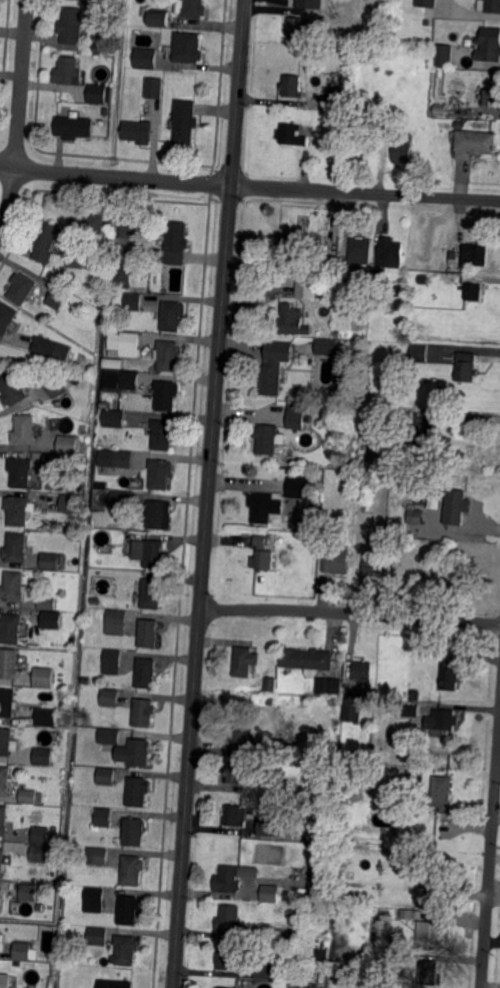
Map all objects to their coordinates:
building: (106, 2)
building: (307, 3)
building: (425, 3)
building: (489, 6)
building: (194, 9)
road: (469, 11)
building: (340, 16)
building: (159, 18)
building: (426, 23)
building: (73, 25)
building: (299, 27)
building: (488, 45)
building: (189, 48)
building: (98, 49)
building: (443, 56)
building: (146, 58)
building: (68, 72)
building: (293, 86)
building: (155, 87)
building: (98, 95)
building: (489, 96)
building: (336, 98)
building: (128, 99)
building: (441, 110)
building: (419, 117)
road: (19, 118)
building: (186, 121)
building: (460, 124)
building: (346, 125)
building: (354, 125)
building: (75, 128)
building: (139, 131)
building: (293, 134)
building: (476, 142)
building: (403, 149)
road: (8, 164)
road: (257, 186)
building: (90, 222)
building: (136, 227)
building: (46, 241)
building: (177, 242)
building: (293, 244)
building: (361, 250)
building: (476, 254)
building: (451, 255)
building: (388, 256)
building: (77, 258)
building: (325, 262)
building: (122, 276)
building: (449, 279)
building: (422, 280)
building: (344, 282)
building: (25, 288)
building: (304, 292)
building: (473, 292)
building: (399, 293)
building: (59, 298)
building: (133, 301)
building: (390, 305)
building: (173, 315)
building: (293, 317)
building: (8, 319)
building: (338, 334)
building: (127, 343)
building: (325, 347)
building: (52, 348)
building: (419, 353)
building: (169, 355)
building: (108, 360)
building: (15, 364)
building: (274, 366)
building: (467, 366)
building: (129, 379)
building: (57, 385)
building: (13, 389)
building: (167, 394)
building: (370, 413)
building: (297, 416)
building: (115, 418)
building: (25, 429)
building: (164, 433)
building: (425, 433)
building: (268, 438)
building: (69, 444)
building: (124, 458)
building: (59, 462)
building: (22, 471)
building: (161, 473)
building: (349, 478)
building: (300, 487)
road: (209, 494)
building: (368, 494)
building: (120, 499)
building: (431, 500)
building: (72, 502)
building: (418, 502)
building: (261, 507)
building: (454, 507)
building: (18, 509)
building: (158, 514)
building: (414, 515)
building: (78, 524)
building: (121, 535)
building: (16, 547)
building: (150, 554)
building: (260, 555)
building: (334, 559)
building: (50, 560)
building: (372, 561)
building: (446, 568)
building: (428, 578)
building: (15, 586)
building: (153, 593)
building: (95, 599)
building: (48, 603)
road: (351, 612)
building: (53, 619)
building: (117, 622)
building: (11, 627)
building: (150, 633)
building: (341, 659)
building: (113, 660)
building: (246, 660)
building: (306, 660)
building: (9, 664)
building: (340, 672)
building: (363, 672)
building: (147, 673)
building: (450, 675)
building: (44, 676)
building: (270, 684)
building: (329, 686)
building: (415, 694)
building: (110, 697)
building: (272, 699)
building: (8, 702)
building: (352, 707)
building: (407, 710)
building: (144, 712)
building: (46, 716)
building: (445, 719)
building: (109, 735)
building: (241, 738)
building: (7, 742)
building: (135, 753)
building: (105, 754)
building: (43, 755)
building: (237, 774)
building: (107, 776)
building: (407, 778)
building: (5, 780)
building: (283, 788)
building: (139, 790)
building: (442, 793)
building: (31, 795)
building: (236, 815)
building: (104, 817)
building: (3, 819)
building: (386, 819)
building: (273, 827)
building: (135, 831)
building: (41, 834)
building: (40, 853)
building: (97, 856)
road: (490, 856)
building: (419, 857)
building: (2, 860)
building: (132, 869)
building: (436, 873)
building: (227, 879)
building: (318, 879)
building: (29, 893)
building: (1, 894)
building: (270, 894)
building: (95, 898)
building: (129, 909)
building: (407, 912)
building: (229, 918)
building: (429, 933)
building: (255, 934)
building: (373, 935)
building: (99, 936)
building: (279, 946)
building: (126, 948)
building: (23, 951)
building: (364, 952)
building: (227, 958)
building: (362, 965)
building: (264, 971)
building: (428, 972)
building: (4, 980)
building: (115, 983)
building: (407, 983)
building: (216, 987)
building: (301, 987)

